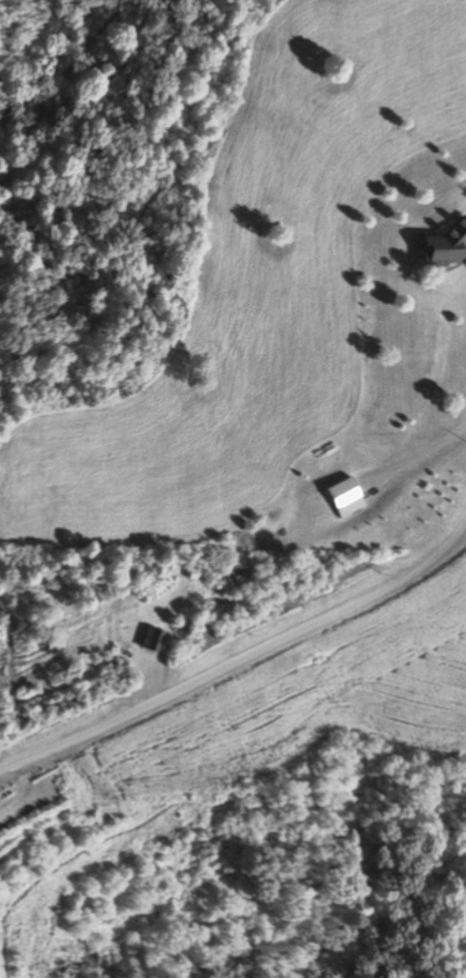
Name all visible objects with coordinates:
building: (446, 248)
building: (343, 493)
building: (195, 573)
building: (150, 640)
road: (247, 672)

